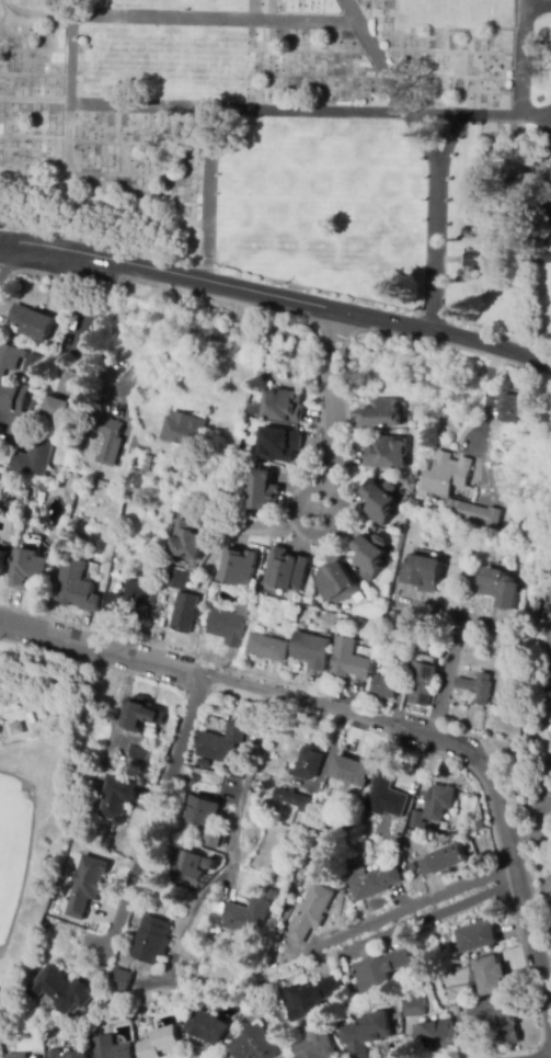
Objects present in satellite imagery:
road: (538, 5)
road: (37, 12)
road: (215, 18)
road: (524, 71)
road: (71, 102)
road: (296, 112)
road: (452, 141)
park: (295, 146)
road: (434, 152)
road: (208, 193)
building: (472, 261)
road: (277, 294)
building: (33, 322)
building: (88, 351)
building: (9, 359)
building: (33, 365)
building: (24, 380)
building: (73, 384)
building: (12, 398)
road: (329, 398)
road: (486, 398)
building: (285, 407)
building: (508, 408)
building: (56, 410)
building: (382, 414)
building: (182, 429)
building: (108, 436)
building: (496, 440)
building: (1, 443)
building: (278, 445)
building: (387, 454)
building: (35, 458)
building: (147, 463)
building: (136, 473)
building: (120, 490)
building: (432, 491)
building: (263, 492)
road: (333, 492)
building: (379, 501)
building: (190, 541)
building: (370, 556)
building: (2, 561)
building: (239, 567)
building: (28, 569)
building: (286, 570)
building: (422, 573)
building: (337, 583)
building: (76, 587)
building: (501, 588)
building: (129, 602)
building: (182, 603)
building: (400, 622)
building: (230, 625)
building: (267, 648)
building: (312, 650)
building: (351, 660)
road: (82, 661)
building: (404, 670)
road: (446, 675)
building: (423, 683)
building: (386, 687)
building: (478, 689)
road: (370, 714)
building: (138, 715)
building: (18, 727)
building: (222, 744)
building: (138, 755)
building: (308, 765)
building: (352, 773)
park: (42, 781)
building: (254, 786)
building: (387, 796)
building: (117, 798)
building: (292, 799)
building: (435, 807)
building: (203, 811)
road: (156, 816)
building: (474, 824)
building: (306, 826)
building: (213, 838)
road: (36, 839)
road: (234, 845)
building: (444, 861)
building: (211, 865)
building: (412, 867)
building: (187, 869)
building: (371, 883)
building: (87, 886)
building: (271, 895)
road: (417, 905)
building: (217, 908)
building: (310, 913)
building: (245, 918)
building: (475, 936)
building: (151, 941)
building: (380, 969)
building: (490, 976)
building: (120, 980)
building: (60, 990)
building: (309, 999)
building: (413, 1008)
building: (495, 1021)
building: (207, 1027)
building: (364, 1034)
building: (435, 1036)
building: (158, 1042)
building: (252, 1045)
building: (315, 1046)
building: (110, 1048)
building: (66, 1055)
building: (18, 1056)
road: (542, 1056)

